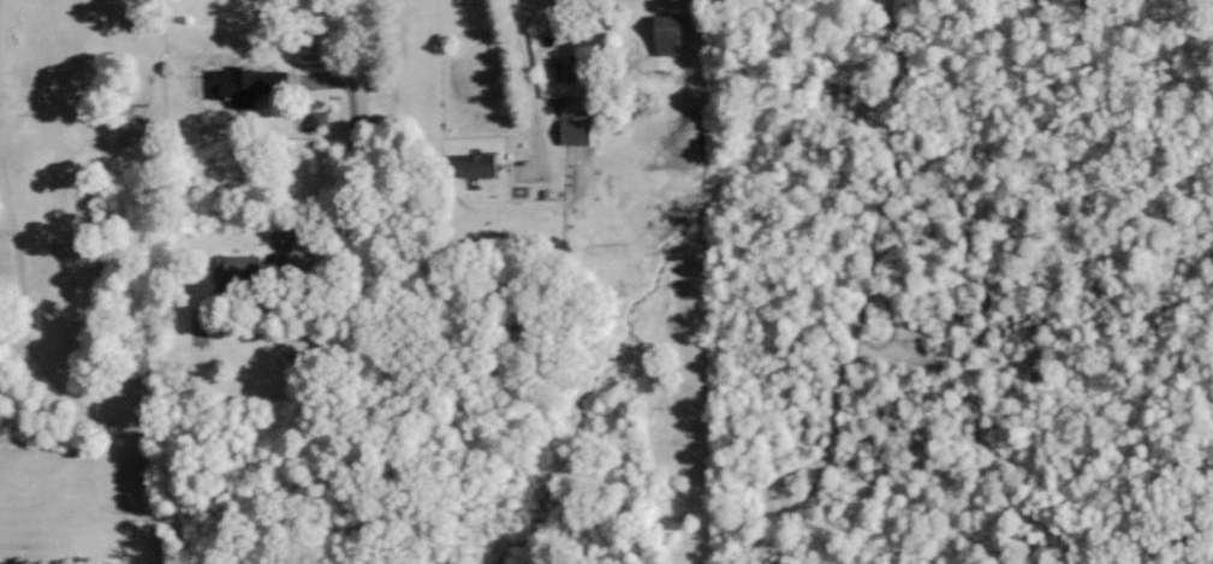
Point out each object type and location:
building: (662, 34)
road: (523, 87)
building: (236, 88)
road: (344, 107)
building: (316, 118)
building: (572, 131)
building: (470, 164)
building: (234, 266)
park: (108, 286)

